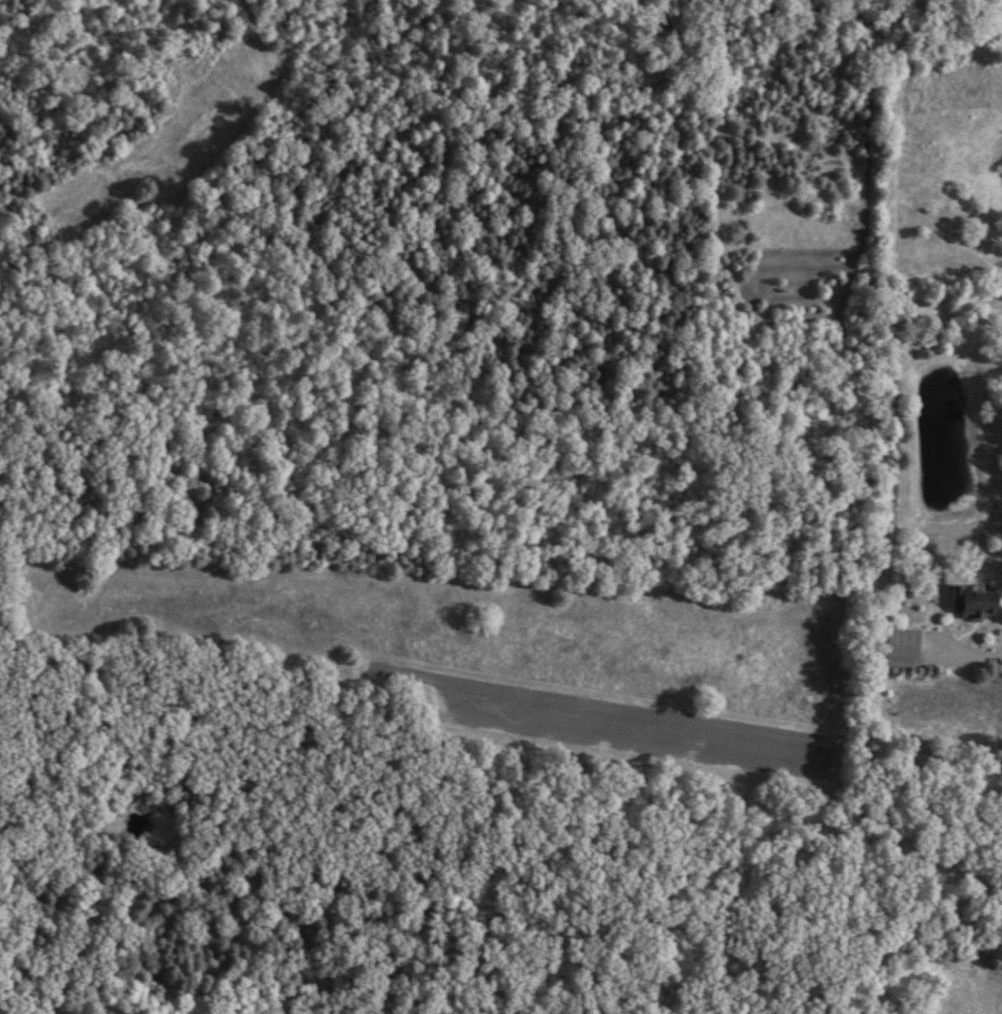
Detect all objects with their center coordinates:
building: (978, 604)

